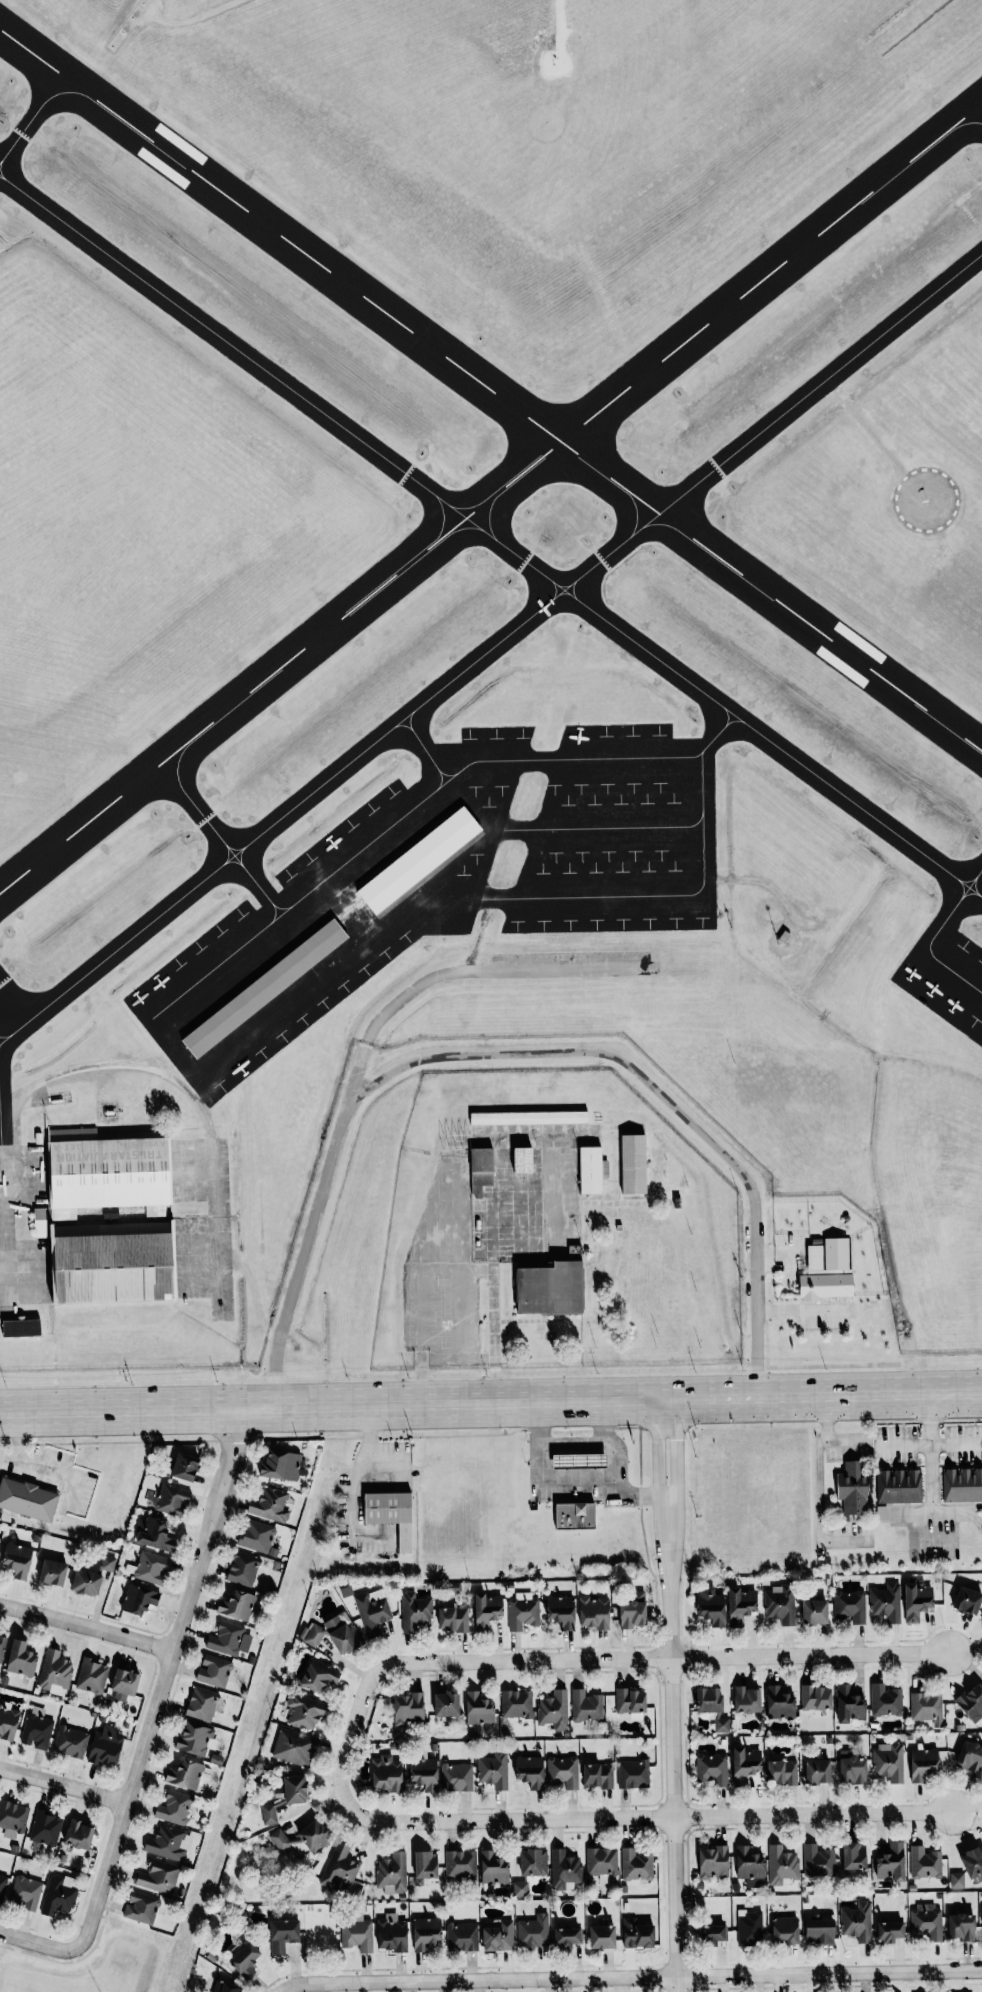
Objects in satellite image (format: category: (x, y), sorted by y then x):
airport taxiway: (36, 63)
airport taxiway: (92, 100)
airport taxiway: (910, 161)
airport runway: (491, 363)
airport runway: (490, 391)
airport runway: (491, 418)
airport runway: (491, 470)
airport runway: (490, 497)
airport runway: (491, 526)
airport taxiway: (490, 537)
airport taxiway: (561, 579)
airport taxiway: (538, 591)
airport taxiway: (588, 593)
airport taxiway: (563, 600)
airport taxiway: (492, 647)
airport: (489, 684)
airport taxiway: (713, 716)
airport taxiway: (942, 724)
airport taxiway: (731, 729)
airport taxiway: (413, 735)
airport taxiway: (210, 826)
airport taxiway: (959, 871)
airport apron: (445, 884)
airport taxiway: (951, 891)
airport taxiway: (964, 906)
road: (463, 971)
airport apron: (945, 978)
building: (264, 990)
airport taxiway: (4, 1035)
road: (519, 1058)
road: (38, 1082)
building: (529, 1119)
road: (496, 1156)
building: (526, 1163)
building: (635, 1167)
building: (481, 1168)
building: (107, 1173)
building: (595, 1173)
airport taxiway: (4, 1205)
airport apron: (203, 1222)
airport apron: (6, 1223)
building: (981, 1236)
building: (828, 1256)
road: (221, 1260)
building: (112, 1264)
parking lot: (444, 1276)
road: (3, 1286)
building: (825, 1286)
building: (548, 1287)
building: (20, 1328)
road: (423, 1387)
road: (491, 1403)
road: (826, 1435)
road: (605, 1440)
road: (119, 1442)
road: (573, 1445)
road: (931, 1448)
building: (578, 1461)
gas station: (579, 1461)
building: (280, 1465)
building: (184, 1467)
road: (568, 1479)
building: (962, 1485)
building: (898, 1486)
building: (852, 1490)
building: (27, 1499)
building: (170, 1499)
building: (270, 1505)
road: (820, 1510)
building: (882, 1512)
building: (391, 1514)
building: (574, 1516)
building: (156, 1535)
building: (256, 1536)
building: (17, 1560)
building: (107, 1563)
building: (151, 1568)
building: (243, 1569)
building: (52, 1572)
building: (86, 1583)
building: (138, 1600)
building: (967, 1600)
building: (886, 1602)
building: (916, 1602)
building: (779, 1604)
building: (236, 1605)
building: (710, 1606)
building: (740, 1606)
building: (849, 1606)
building: (415, 1610)
building: (487, 1610)
building: (372, 1611)
building: (561, 1611)
building: (633, 1611)
building: (522, 1612)
building: (814, 1612)
building: (594, 1613)
building: (452, 1617)
road: (87, 1628)
building: (333, 1635)
building: (229, 1639)
building: (1, 1646)
road: (633, 1658)
building: (21, 1659)
building: (214, 1671)
building: (54, 1673)
building: (91, 1676)
building: (318, 1676)
road: (165, 1679)
building: (125, 1682)
road: (671, 1695)
building: (815, 1698)
building: (746, 1700)
building: (629, 1701)
building: (885, 1701)
building: (971, 1702)
building: (201, 1704)
building: (446, 1704)
building: (516, 1704)
building: (779, 1704)
building: (712, 1705)
building: (848, 1705)
building: (479, 1708)
building: (926, 1708)
building: (408, 1709)
building: (554, 1710)
building: (304, 1711)
building: (8, 1721)
building: (36, 1728)
building: (70, 1742)
building: (294, 1748)
building: (105, 1749)
building: (969, 1757)
building: (888, 1762)
building: (923, 1764)
building: (744, 1765)
building: (851, 1768)
building: (712, 1769)
building: (493, 1770)
building: (529, 1771)
building: (563, 1771)
building: (817, 1771)
building: (781, 1772)
building: (386, 1773)
building: (424, 1773)
building: (632, 1774)
building: (188, 1775)
building: (597, 1776)
building: (456, 1777)
road: (64, 1786)
building: (294, 1789)
building: (174, 1808)
building: (268, 1814)
road: (606, 1816)
building: (12, 1818)
building: (45, 1828)
building: (78, 1835)
building: (302, 1839)
building: (168, 1843)
building: (853, 1856)
building: (601, 1861)
building: (818, 1861)
building: (533, 1862)
building: (712, 1862)
building: (890, 1862)
building: (924, 1863)
building: (972, 1863)
building: (460, 1864)
building: (636, 1865)
building: (781, 1865)
building: (749, 1867)
building: (425, 1868)
building: (564, 1869)
building: (341, 1871)
building: (392, 1873)
building: (495, 1873)
building: (158, 1877)
building: (956, 1880)
building: (2, 1885)
building: (520, 1888)
building: (26, 1892)
building: (58, 1895)
building: (141, 1908)
building: (981, 1911)
building: (856, 1922)
building: (926, 1922)
building: (961, 1926)
building: (749, 1928)
building: (819, 1929)
building: (784, 1930)
building: (889, 1931)
building: (425, 1932)
building: (533, 1932)
building: (356, 1933)
building: (392, 1933)
building: (282, 1934)
building: (637, 1934)
building: (711, 1934)
building: (498, 1936)
building: (461, 1937)
building: (567, 1937)
building: (601, 1937)
road: (37, 1943)
building: (245, 1960)
road: (630, 1975)
building: (224, 1987)

